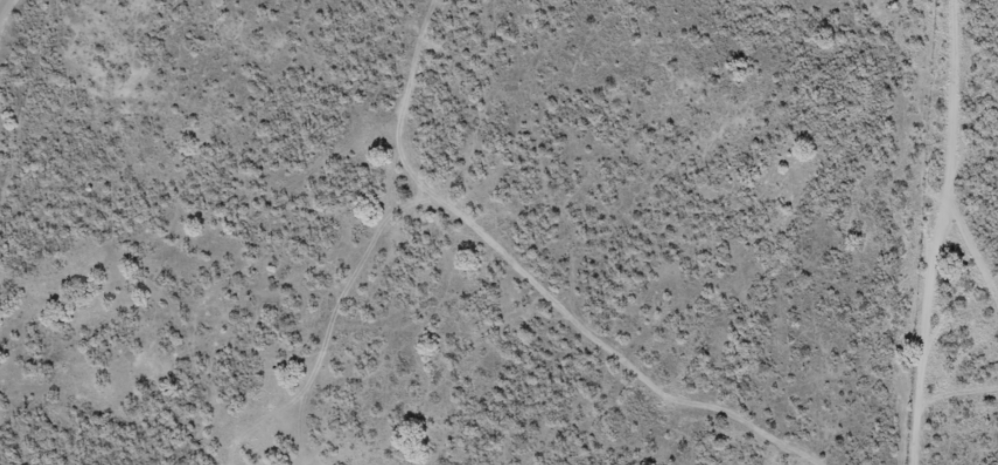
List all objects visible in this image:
road: (951, 232)

